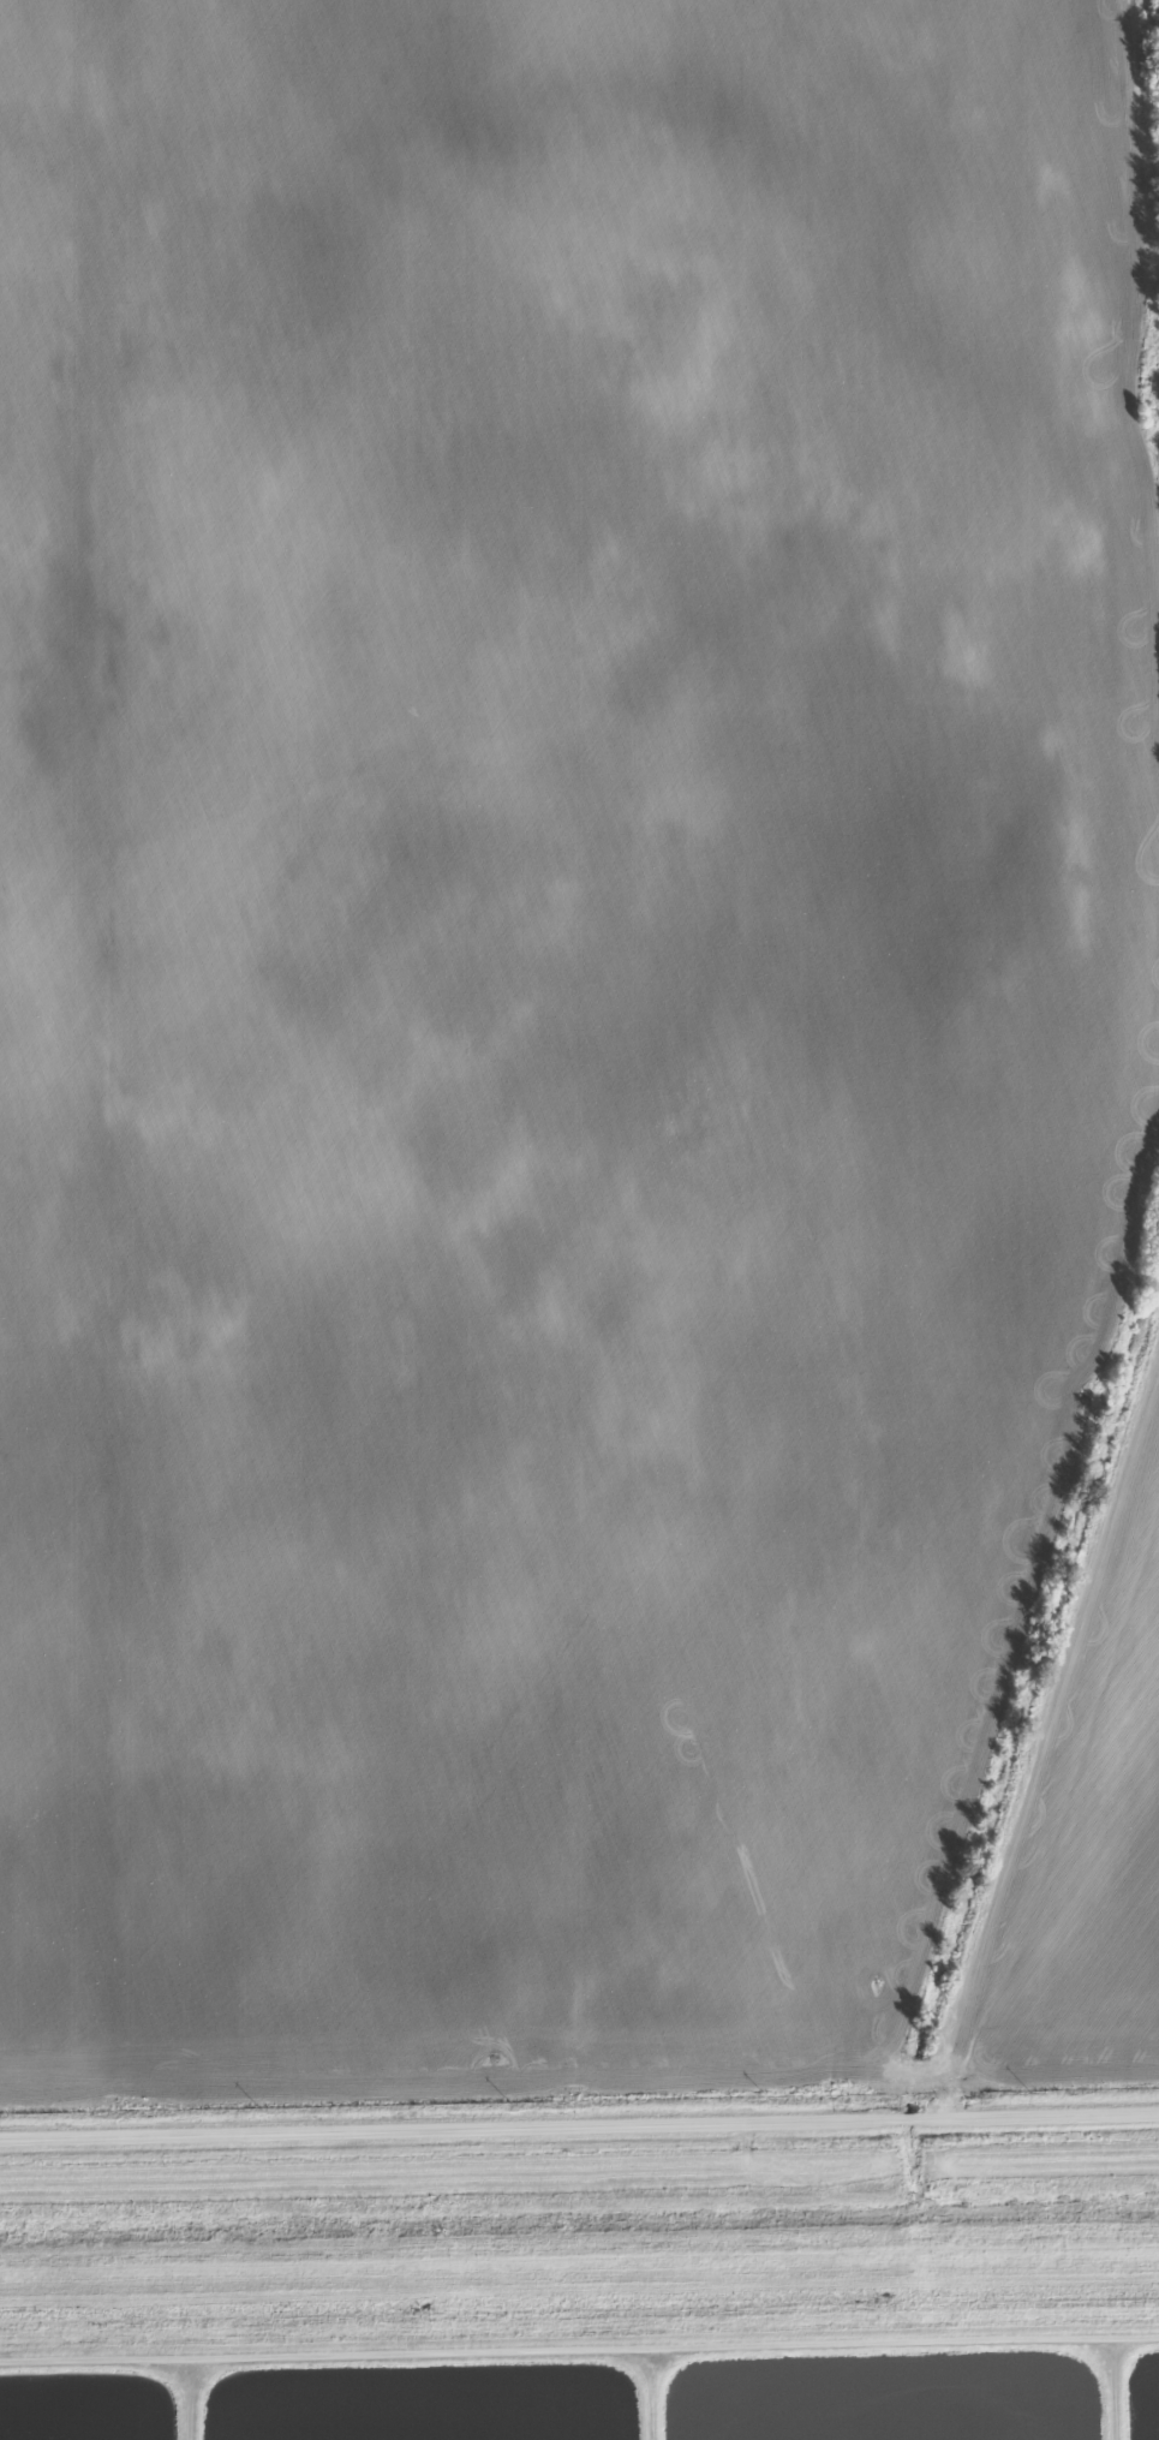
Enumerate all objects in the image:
road: (579, 2120)

